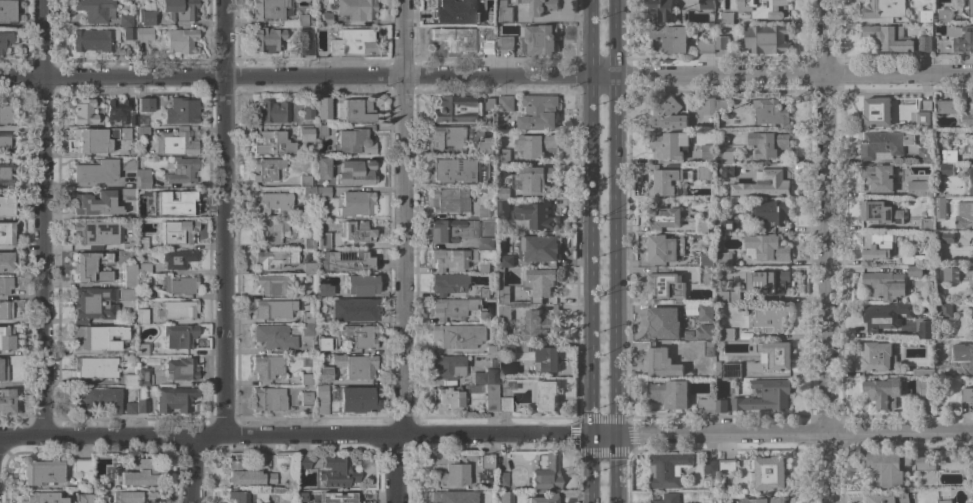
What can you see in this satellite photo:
building: (704, 3)
building: (540, 6)
building: (762, 8)
building: (884, 8)
building: (971, 8)
building: (95, 9)
building: (268, 9)
building: (355, 9)
building: (178, 10)
building: (445, 10)
building: (662, 10)
building: (7, 11)
building: (504, 11)
building: (925, 15)
building: (944, 15)
building: (484, 18)
building: (145, 19)
building: (324, 19)
building: (301, 20)
building: (125, 21)
building: (128, 33)
building: (143, 33)
building: (692, 36)
building: (670, 37)
building: (889, 37)
road: (43, 38)
road: (221, 38)
road: (404, 38)
building: (539, 38)
building: (764, 38)
road: (828, 38)
building: (95, 40)
building: (266, 40)
road: (594, 40)
road: (619, 40)
building: (964, 40)
building: (6, 41)
building: (180, 41)
building: (305, 41)
building: (462, 41)
building: (721, 41)
building: (352, 42)
building: (505, 42)
building: (925, 42)
building: (705, 46)
road: (486, 78)
building: (506, 103)
building: (144, 105)
building: (708, 105)
building: (721, 106)
building: (948, 107)
building: (322, 108)
building: (460, 108)
building: (967, 110)
building: (83, 111)
building: (117, 111)
building: (181, 111)
building: (353, 111)
building: (539, 111)
building: (771, 111)
building: (881, 111)
building: (270, 112)
building: (307, 113)
building: (670, 113)
building: (5, 114)
building: (927, 114)
building: (131, 119)
building: (319, 131)
building: (142, 132)
building: (303, 132)
building: (449, 137)
building: (97, 139)
building: (354, 141)
building: (5, 142)
building: (174, 143)
building: (271, 143)
building: (768, 143)
building: (884, 143)
building: (969, 143)
building: (536, 144)
building: (669, 144)
building: (485, 145)
building: (707, 152)
building: (926, 154)
road: (81, 155)
building: (949, 155)
building: (504, 156)
building: (726, 156)
building: (126, 164)
building: (321, 168)
building: (265, 169)
building: (728, 169)
building: (453, 170)
building: (94, 171)
building: (182, 171)
building: (355, 172)
building: (942, 172)
building: (6, 173)
building: (704, 173)
building: (879, 176)
building: (142, 178)
building: (534, 178)
building: (972, 179)
building: (304, 181)
building: (665, 181)
building: (769, 183)
road: (22, 186)
building: (919, 188)
building: (307, 192)
building: (322, 193)
building: (504, 193)
building: (126, 194)
building: (449, 200)
building: (177, 202)
building: (94, 204)
building: (271, 204)
building: (356, 204)
building: (6, 205)
building: (940, 207)
building: (321, 208)
building: (503, 208)
building: (483, 211)
building: (770, 211)
building: (881, 212)
building: (534, 215)
building: (663, 215)
building: (964, 215)
building: (926, 223)
building: (703, 225)
building: (724, 225)
building: (283, 228)
building: (452, 230)
building: (267, 231)
building: (355, 231)
building: (95, 232)
building: (176, 232)
building: (6, 234)
building: (694, 235)
building: (943, 240)
building: (322, 241)
building: (972, 241)
building: (308, 242)
building: (141, 243)
building: (485, 243)
building: (878, 245)
building: (665, 247)
building: (766, 247)
building: (541, 248)
building: (969, 253)
road: (43, 256)
road: (223, 256)
building: (907, 257)
building: (451, 258)
building: (724, 258)
building: (178, 259)
building: (275, 259)
building: (706, 259)
building: (508, 260)
building: (5, 261)
building: (345, 261)
building: (91, 267)
building: (483, 267)
building: (143, 268)
building: (307, 268)
building: (915, 270)
building: (705, 274)
building: (952, 274)
building: (129, 275)
building: (539, 282)
building: (767, 282)
building: (447, 283)
building: (665, 283)
building: (272, 284)
building: (886, 284)
building: (5, 285)
building: (179, 285)
building: (360, 285)
building: (503, 287)
building: (939, 288)
road: (402, 290)
road: (827, 290)
building: (322, 291)
building: (484, 291)
road: (593, 291)
road: (618, 291)
building: (972, 292)
building: (145, 293)
building: (126, 294)
building: (294, 295)
building: (727, 295)
building: (93, 304)
building: (274, 308)
building: (450, 308)
building: (690, 308)
building: (178, 309)
building: (5, 310)
building: (353, 310)
building: (946, 310)
building: (705, 311)
building: (504, 312)
building: (972, 312)
building: (885, 315)
building: (141, 316)
building: (483, 316)
building: (306, 317)
building: (771, 318)
building: (664, 322)
building: (540, 324)
building: (307, 329)
building: (926, 329)
building: (704, 331)
building: (687, 333)
building: (728, 333)
building: (358, 335)
building: (457, 335)
building: (745, 335)
building: (179, 336)
building: (96, 337)
building: (273, 337)
building: (6, 338)
building: (323, 343)
building: (507, 347)
building: (709, 347)
building: (143, 349)
building: (491, 349)
building: (775, 354)
building: (879, 355)
building: (972, 356)
building: (546, 358)
building: (663, 362)
building: (355, 365)
building: (267, 366)
building: (448, 366)
building: (94, 367)
building: (718, 368)
building: (181, 369)
building: (731, 369)
building: (2, 370)
building: (925, 370)
building: (322, 375)
building: (143, 377)
building: (130, 378)
building: (305, 379)
building: (488, 387)
building: (883, 391)
building: (129, 392)
building: (670, 393)
building: (968, 393)
building: (765, 394)
building: (548, 395)
building: (926, 395)
building: (305, 398)
building: (447, 398)
building: (96, 399)
building: (174, 399)
building: (268, 399)
building: (356, 399)
building: (321, 400)
building: (6, 401)
building: (140, 403)
building: (503, 404)
building: (706, 404)
building: (720, 405)
building: (129, 408)
traffic signals: (618, 434)
road: (486, 435)
traffic signals: (593, 435)
building: (485, 461)
building: (302, 462)
building: (926, 463)
building: (81, 465)
building: (728, 465)
building: (712, 467)
building: (668, 468)
building: (887, 468)
road: (192, 469)
building: (40, 471)
building: (769, 471)
building: (337, 472)
building: (451, 473)
building: (544, 473)
building: (139, 474)
building: (247, 475)
building: (499, 481)
building: (305, 495)
building: (242, 496)
building: (133, 497)
building: (449, 497)
building: (505, 497)
building: (888, 497)
building: (42, 498)
building: (83, 498)
building: (543, 498)
building: (668, 498)
building: (340, 499)
building: (764, 500)
building: (945, 500)
building: (691, 502)

